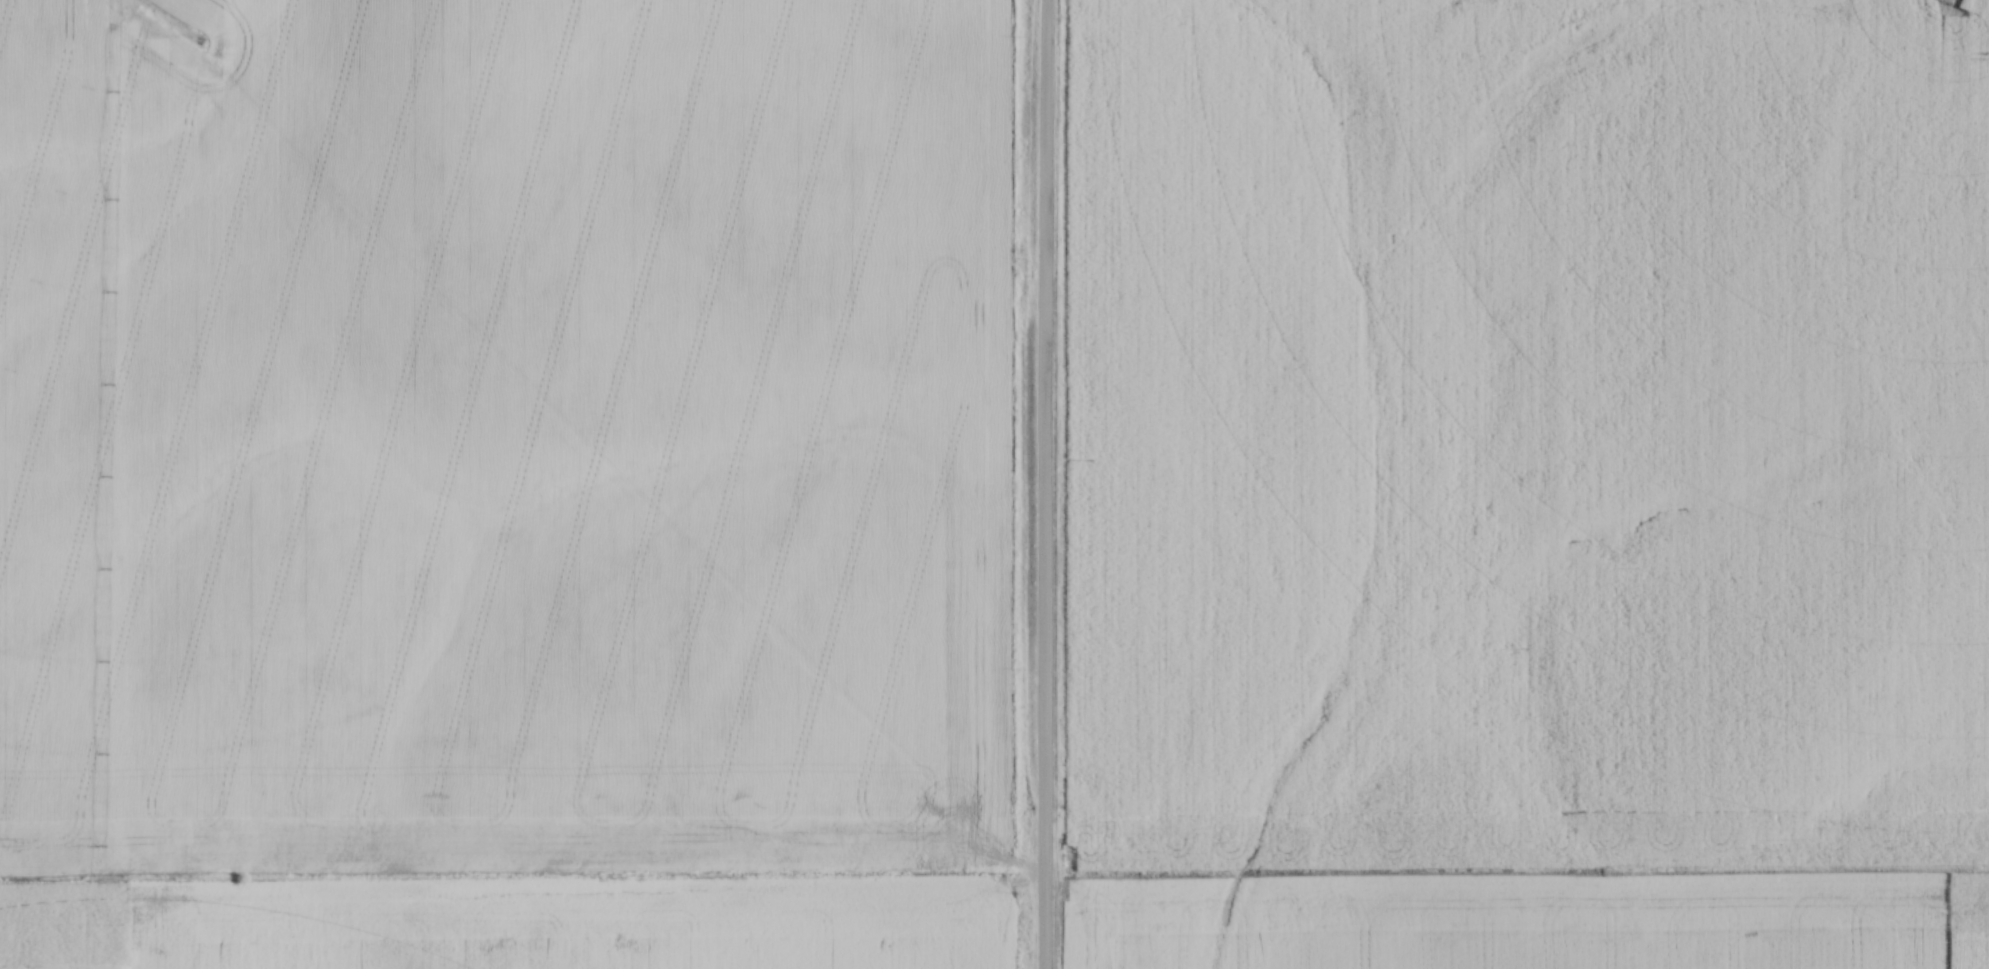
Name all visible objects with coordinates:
road: (1042, 484)

